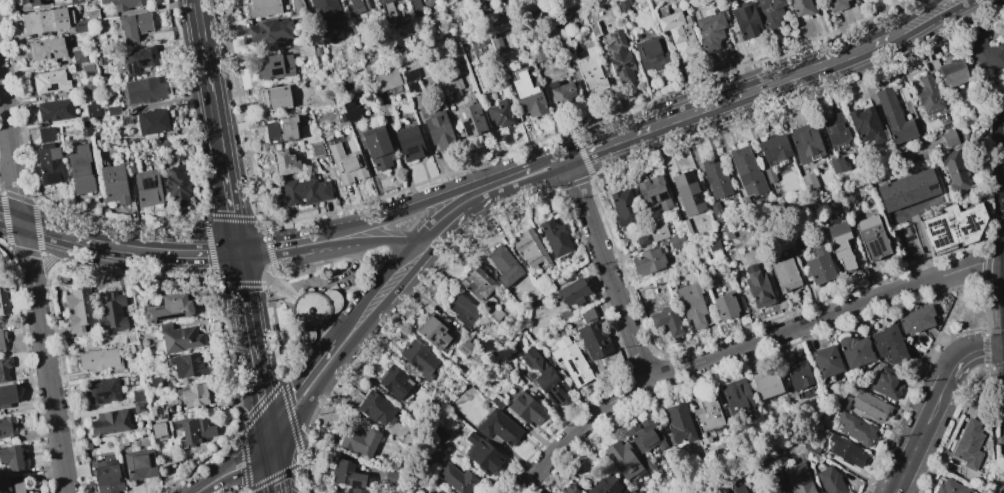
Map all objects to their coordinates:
building: (77, 1)
building: (35, 2)
building: (125, 4)
building: (360, 5)
building: (622, 5)
building: (836, 5)
building: (297, 6)
building: (802, 7)
building: (262, 8)
building: (415, 8)
building: (324, 9)
building: (388, 11)
building: (770, 13)
building: (93, 14)
road: (921, 15)
road: (937, 18)
building: (745, 20)
building: (52, 21)
building: (135, 26)
building: (709, 30)
building: (269, 31)
building: (679, 34)
building: (564, 38)
rooftop solar panel: (615, 38)
building: (495, 42)
building: (47, 49)
building: (305, 50)
building: (985, 51)
building: (651, 52)
building: (79, 56)
building: (538, 56)
building: (619, 57)
rooftop solar panel: (618, 58)
building: (139, 60)
building: (274, 66)
rooftop solar panel: (627, 66)
rooftop solar panel: (619, 67)
building: (590, 70)
building: (950, 72)
rooftop solar panel: (624, 73)
building: (51, 81)
building: (387, 81)
building: (411, 81)
road: (208, 83)
building: (451, 86)
building: (90, 88)
building: (146, 90)
building: (561, 92)
building: (928, 95)
building: (528, 96)
building: (275, 98)
road: (1003, 102)
road: (716, 103)
building: (384, 107)
building: (93, 109)
building: (56, 110)
building: (114, 110)
building: (352, 111)
building: (499, 114)
building: (893, 116)
building: (340, 117)
building: (470, 120)
building: (153, 122)
building: (866, 125)
building: (86, 128)
building: (281, 128)
building: (438, 129)
building: (836, 131)
building: (47, 134)
building: (951, 137)
building: (409, 143)
building: (805, 143)
building: (163, 144)
building: (377, 147)
building: (773, 148)
building: (316, 149)
road: (6, 161)
building: (285, 163)
building: (50, 164)
building: (346, 164)
building: (837, 165)
building: (132, 166)
building: (956, 169)
building: (81, 170)
building: (746, 171)
building: (768, 175)
road: (521, 176)
building: (715, 178)
building: (808, 181)
rooftop solar panel: (142, 182)
rooftop solar panel: (148, 182)
building: (115, 184)
rooftop solar panel: (151, 184)
building: (179, 186)
building: (148, 187)
building: (305, 191)
building: (687, 192)
building: (653, 193)
building: (908, 193)
road: (423, 203)
road: (466, 206)
building: (623, 207)
road: (230, 210)
building: (716, 212)
building: (685, 227)
building: (952, 227)
building: (657, 231)
building: (555, 237)
building: (872, 237)
road: (383, 240)
building: (643, 240)
road: (328, 241)
building: (676, 241)
power substation: (908, 241)
road: (80, 243)
building: (840, 244)
building: (712, 245)
building: (798, 246)
road: (927, 247)
road: (278, 248)
building: (531, 249)
road: (200, 253)
traffic signals: (238, 253)
road: (51, 259)
building: (647, 262)
building: (504, 265)
building: (818, 266)
road: (607, 269)
building: (785, 274)
building: (567, 275)
road: (266, 277)
road: (334, 279)
building: (657, 280)
building: (477, 283)
building: (757, 287)
road: (33, 289)
building: (571, 292)
road: (384, 294)
building: (2, 300)
road: (246, 304)
building: (691, 304)
building: (725, 305)
building: (169, 307)
building: (78, 309)
building: (460, 309)
building: (111, 311)
building: (315, 312)
park: (966, 312)
building: (495, 314)
building: (586, 314)
road: (948, 314)
building: (916, 319)
building: (666, 320)
rooftop solar panel: (441, 330)
building: (432, 333)
building: (129, 337)
building: (178, 337)
rooftop solar panel: (432, 338)
building: (593, 339)
building: (2, 341)
rooftop solar panel: (440, 342)
building: (888, 344)
road: (744, 345)
building: (464, 346)
building: (486, 347)
building: (854, 351)
road: (970, 353)
building: (417, 356)
building: (99, 360)
building: (570, 361)
building: (826, 361)
building: (187, 365)
building: (3, 369)
building: (798, 375)
building: (546, 378)
road: (301, 381)
building: (154, 382)
building: (394, 382)
building: (765, 384)
building: (886, 384)
road: (260, 388)
building: (102, 391)
building: (7, 394)
building: (194, 395)
building: (735, 395)
building: (138, 396)
building: (496, 401)
road: (311, 403)
building: (869, 405)
building: (140, 407)
building: (375, 408)
building: (526, 408)
rooftop solar panel: (165, 409)
rooftop solar panel: (159, 411)
rooftop solar panel: (153, 412)
building: (158, 412)
building: (707, 415)
rooftop solar panel: (164, 417)
rooftop solar panel: (154, 418)
traffic signals: (266, 421)
building: (109, 422)
building: (679, 423)
building: (7, 426)
building: (499, 426)
building: (158, 429)
building: (856, 429)
building: (194, 431)
building: (645, 435)
road: (921, 435)
road: (268, 436)
building: (121, 439)
building: (406, 440)
building: (359, 441)
building: (968, 444)
building: (809, 445)
traffic signals: (271, 451)
building: (846, 451)
road: (234, 452)
building: (481, 453)
building: (813, 456)
building: (11, 457)
building: (779, 458)
building: (622, 459)
building: (649, 462)
building: (139, 464)
road: (274, 471)
building: (347, 474)
road: (241, 475)
building: (107, 477)
building: (391, 477)
building: (457, 478)
building: (798, 478)
building: (830, 481)
building: (766, 483)
building: (16, 484)
building: (606, 485)
building: (4, 487)
building: (951, 487)
road: (198, 489)
building: (569, 489)
building: (735, 489)
building: (357, 491)
building: (403, 491)
building: (440, 491)
building: (332, 492)
building: (346, 492)
building: (423, 492)
building: (429, 492)

